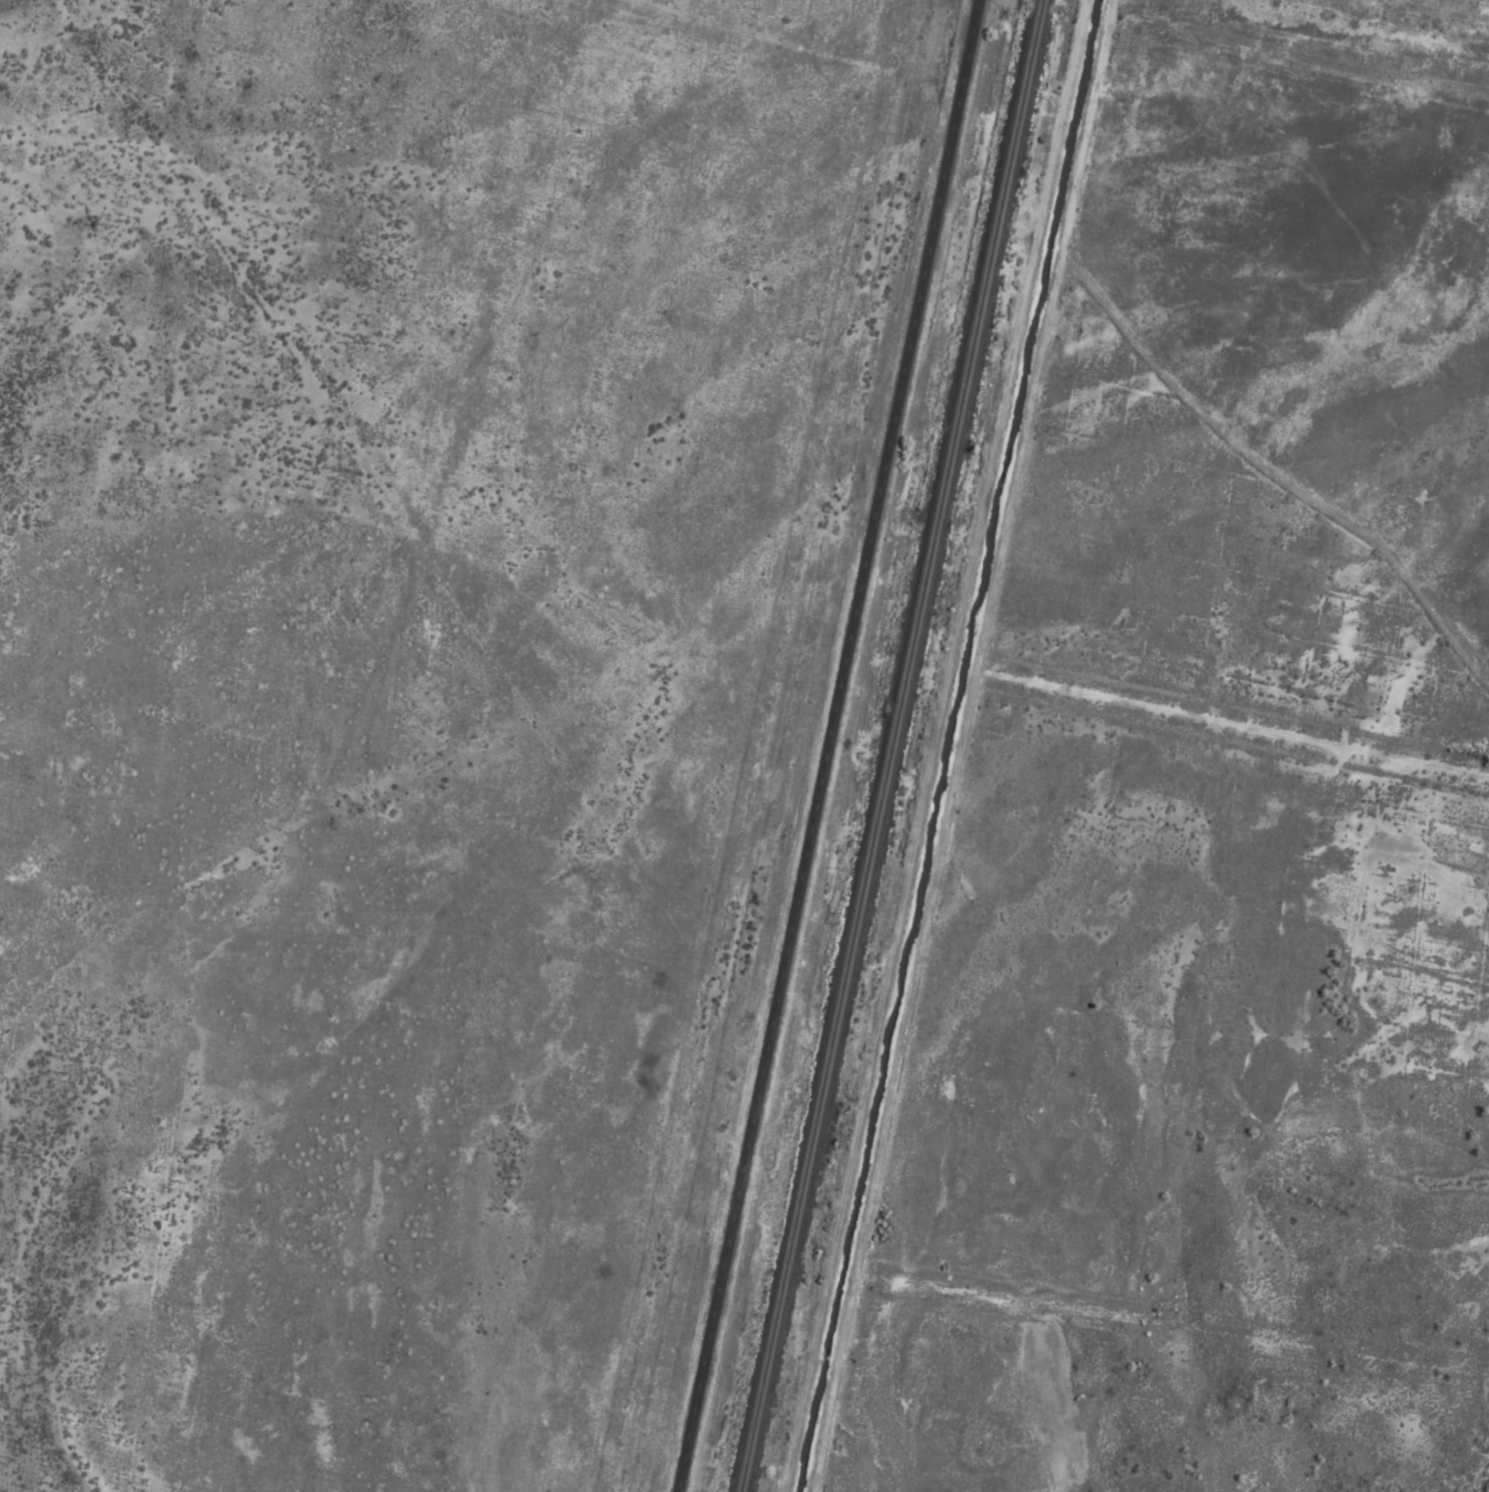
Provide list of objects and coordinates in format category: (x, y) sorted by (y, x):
road: (1270, 474)
road: (959, 745)
road: (825, 746)
railway: (887, 746)
road: (934, 746)

